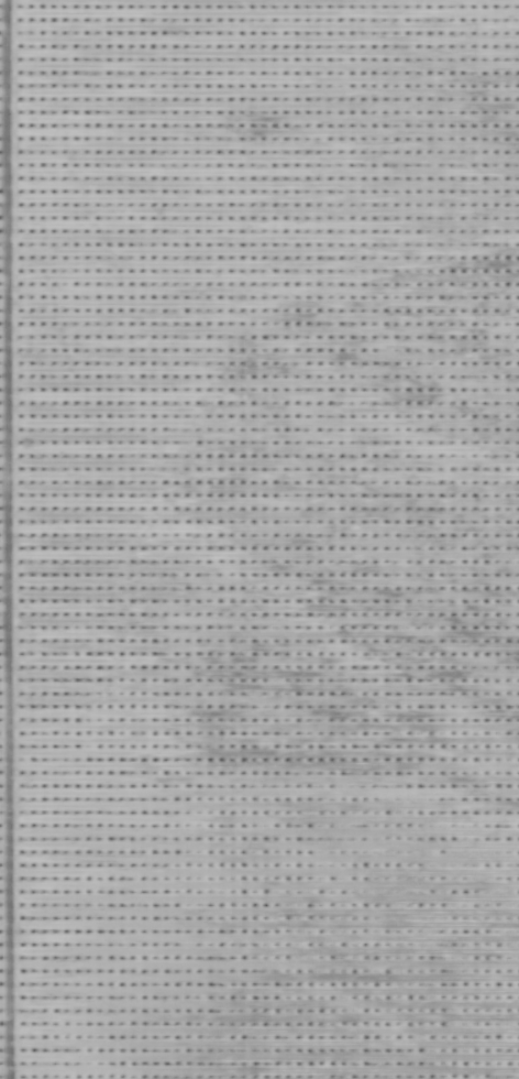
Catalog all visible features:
crop: (194, 277)

